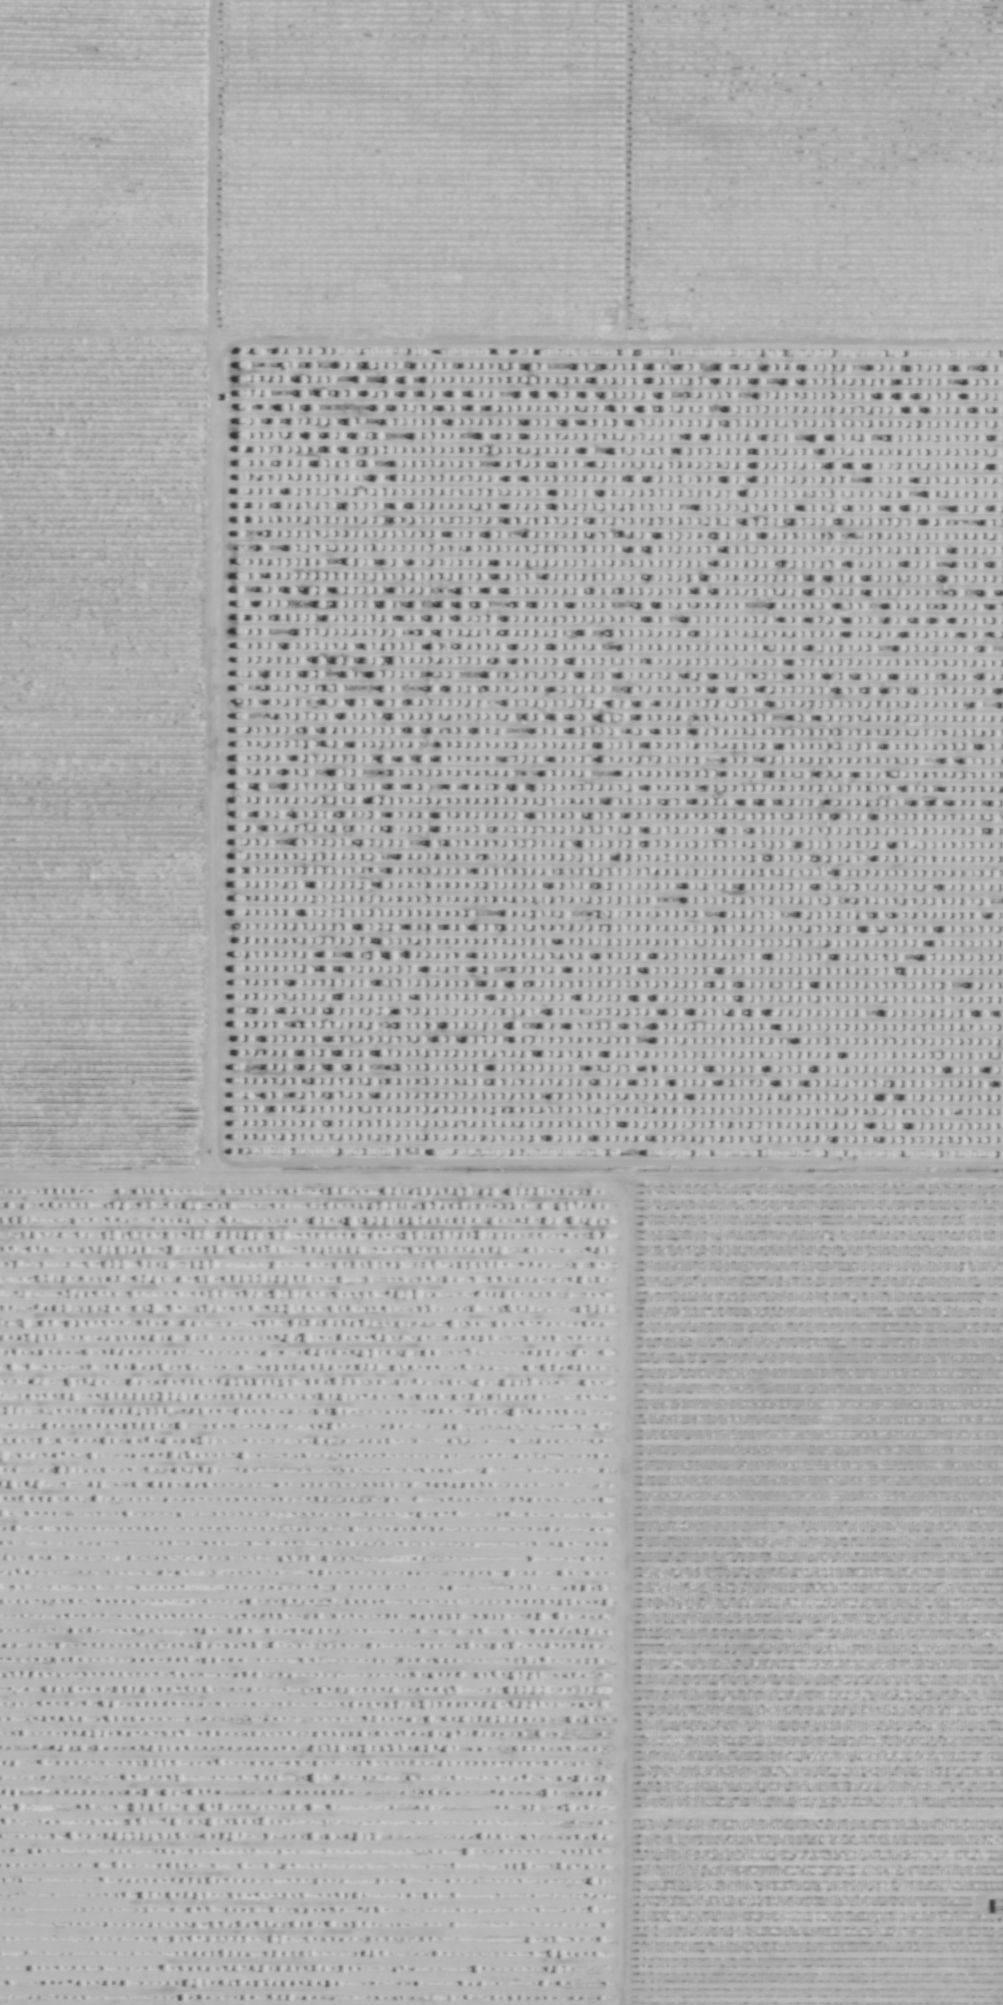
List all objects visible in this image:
road: (501, 1176)

